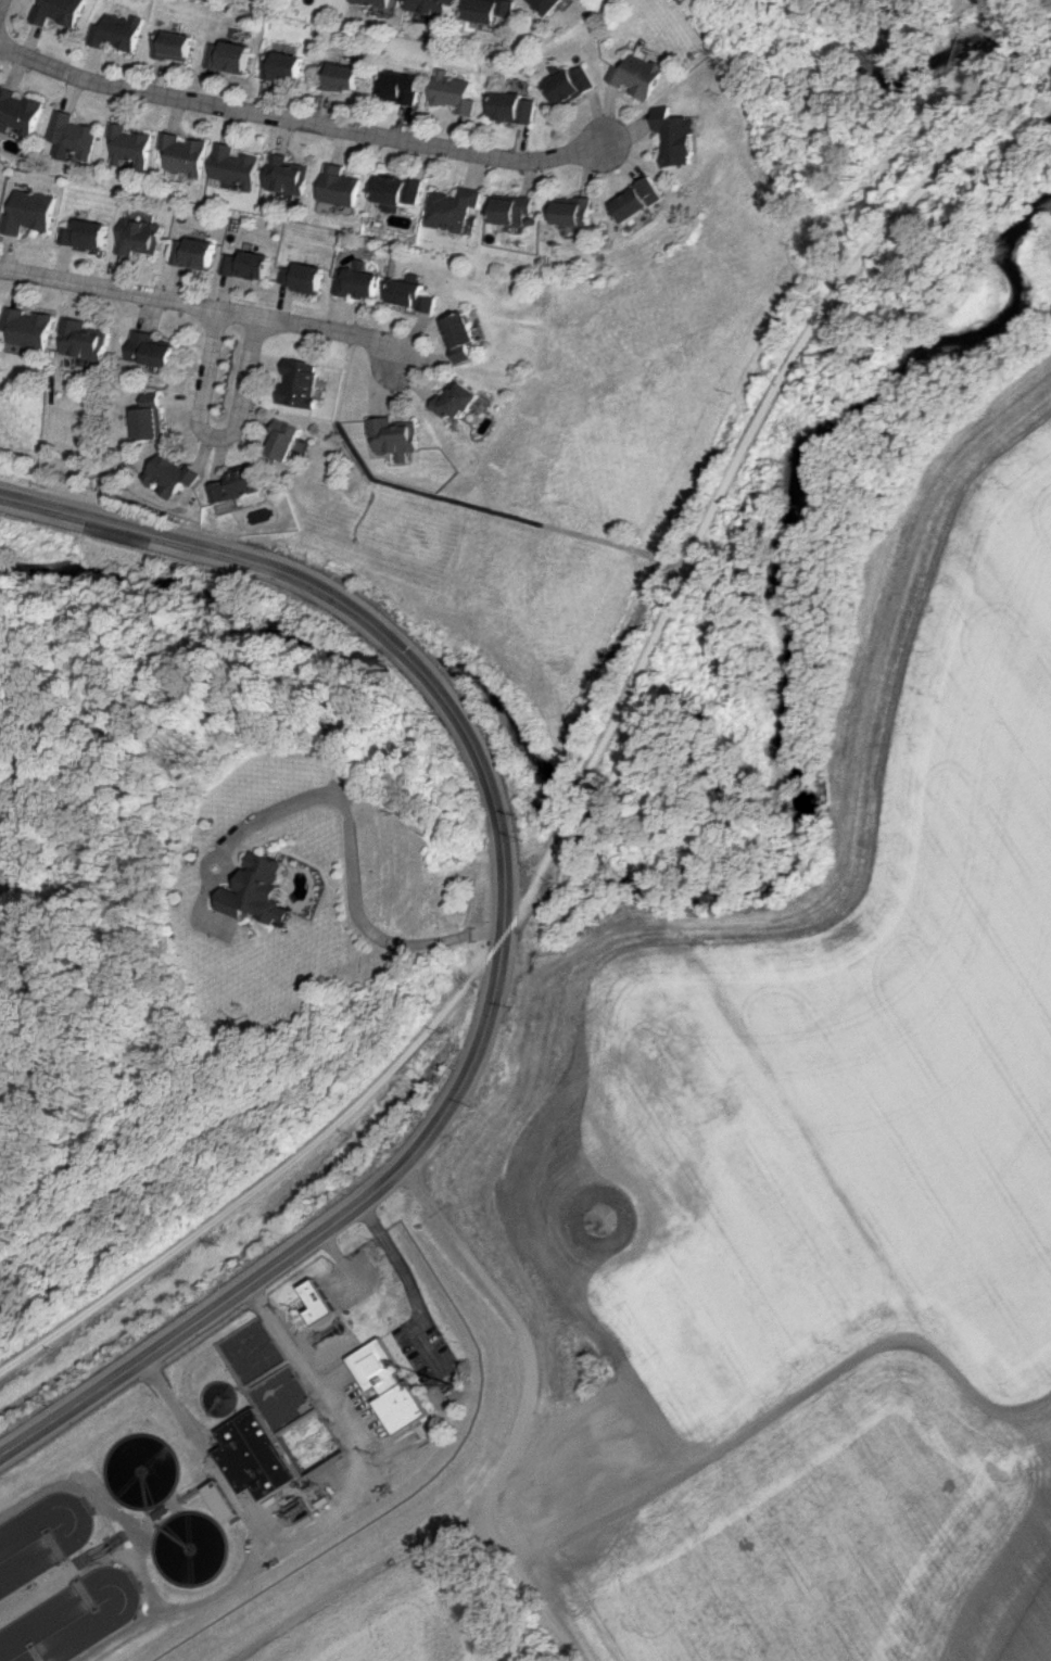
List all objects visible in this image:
building: (373, 2)
road: (2, 5)
building: (547, 5)
building: (428, 7)
building: (489, 10)
building: (58, 11)
building: (116, 31)
building: (173, 46)
building: (229, 56)
building: (283, 66)
building: (636, 75)
building: (342, 77)
building: (570, 84)
building: (398, 86)
building: (451, 92)
building: (511, 106)
building: (20, 110)
road: (304, 121)
building: (72, 136)
building: (680, 136)
building: (130, 145)
building: (186, 153)
building: (239, 166)
building: (292, 175)
building: (345, 186)
building: (403, 191)
building: (645, 200)
building: (457, 208)
building: (517, 210)
building: (28, 212)
building: (580, 212)
building: (84, 233)
building: (138, 236)
building: (194, 253)
building: (250, 264)
building: (306, 277)
building: (362, 280)
building: (414, 294)
road: (206, 306)
building: (0, 315)
building: (34, 327)
building: (464, 334)
building: (88, 339)
building: (154, 350)
building: (304, 382)
building: (463, 401)
building: (154, 418)
building: (401, 436)
road: (220, 440)
building: (289, 440)
building: (176, 474)
building: (243, 483)
road: (459, 502)
road: (356, 608)
road: (586, 779)
road: (350, 873)
road: (832, 887)
building: (257, 890)
crop: (838, 1212)
road: (309, 1242)
road: (346, 1259)
road: (415, 1285)
building: (322, 1302)
road: (521, 1327)
parking lot: (431, 1352)
building: (392, 1386)
road: (782, 1407)
building: (259, 1456)
wastewater plant: (263, 1460)
building: (224, 1500)
road: (114, 1509)
road: (330, 1517)
road: (362, 1583)
road: (232, 1587)
road: (530, 1588)
crop: (388, 1619)
road: (125, 1635)

